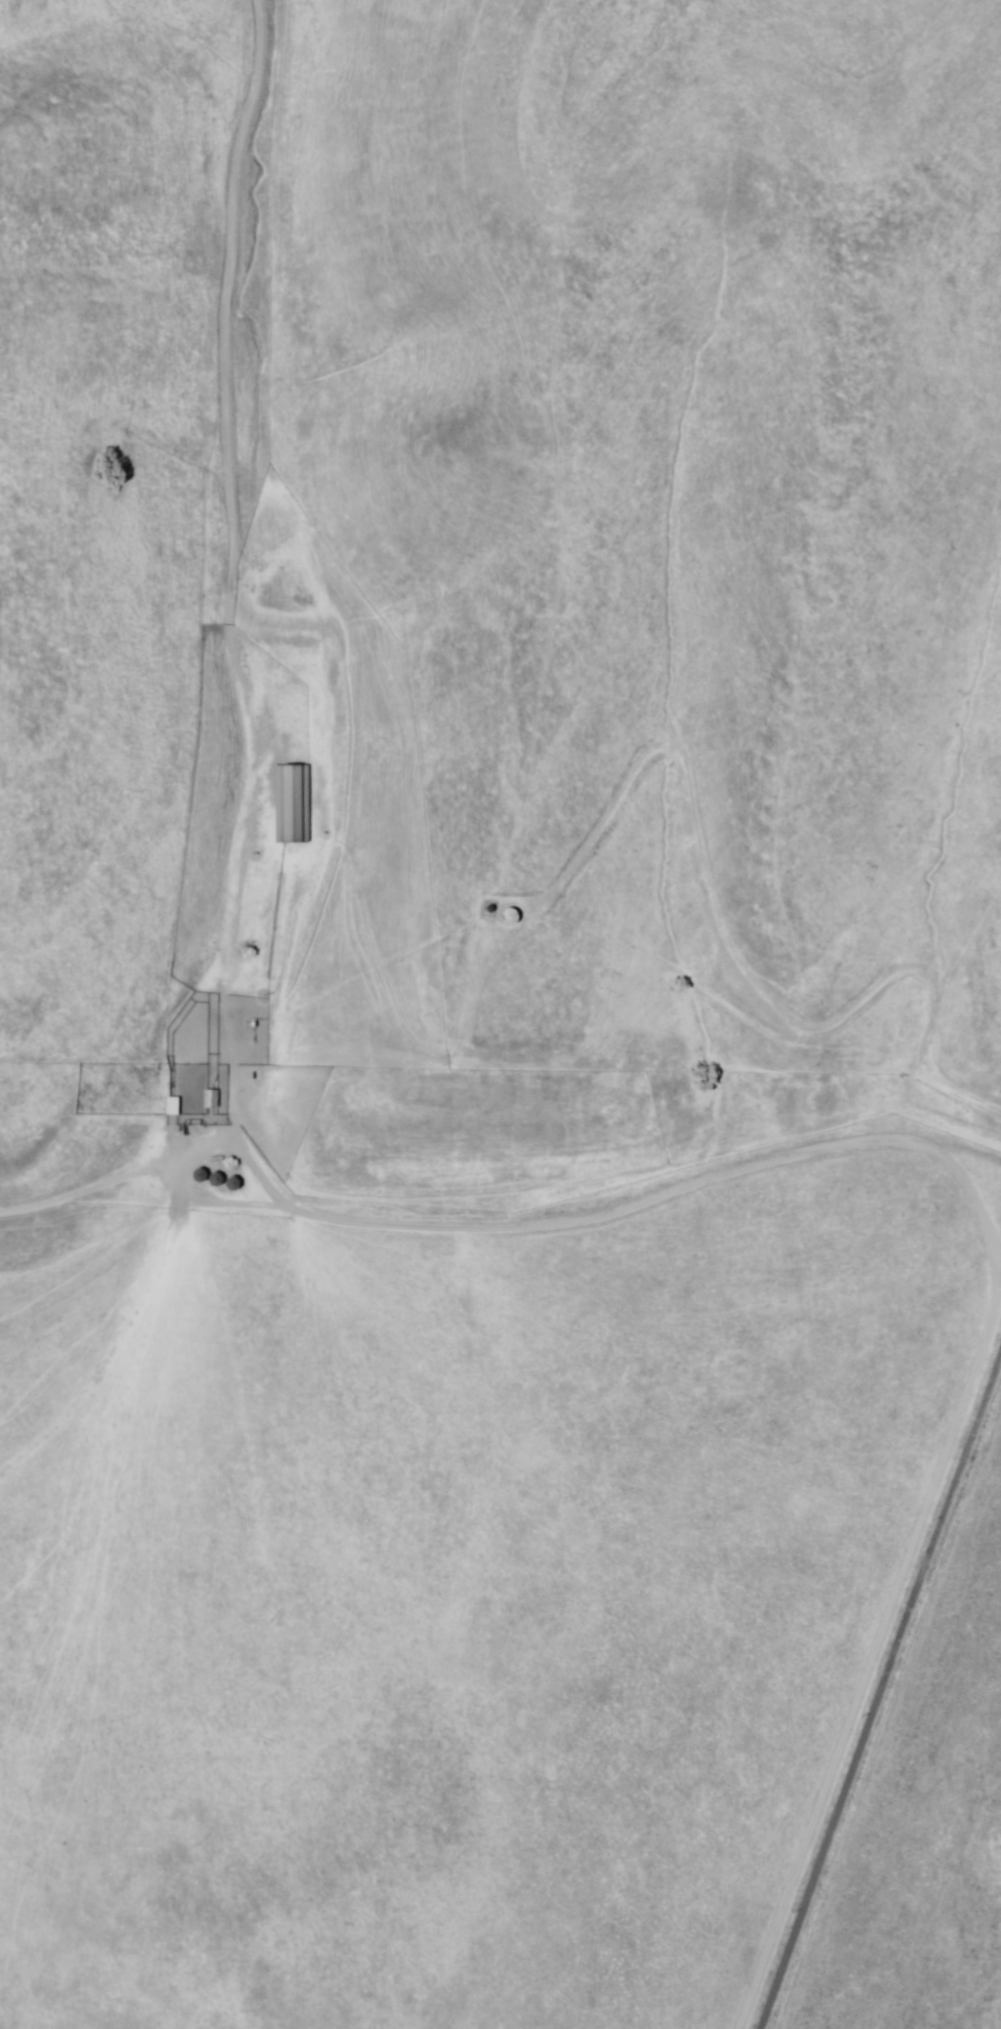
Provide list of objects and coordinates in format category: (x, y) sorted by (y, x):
road: (217, 579)
building: (289, 805)
building: (503, 917)
building: (208, 1100)
road: (498, 1207)
road: (881, 1690)

